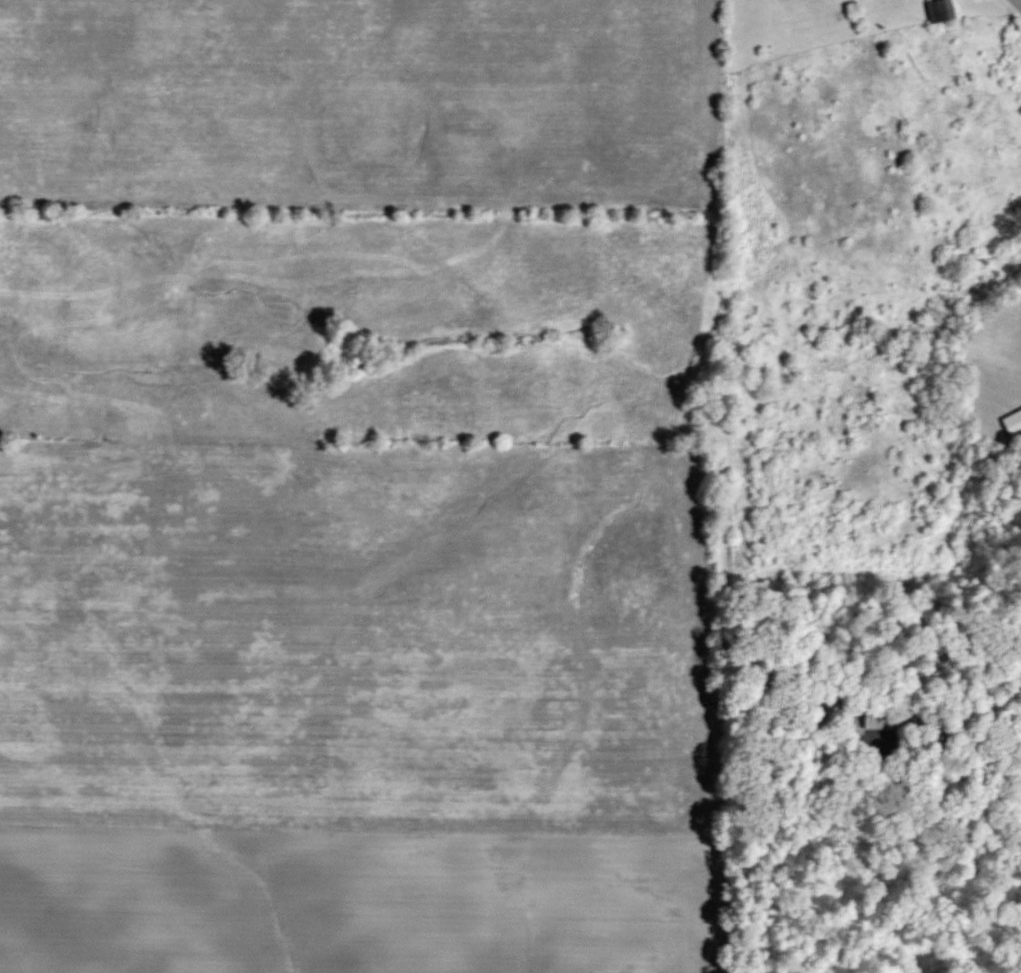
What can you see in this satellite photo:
road: (1016, 4)
building: (939, 10)
building: (1012, 423)
building: (884, 717)

